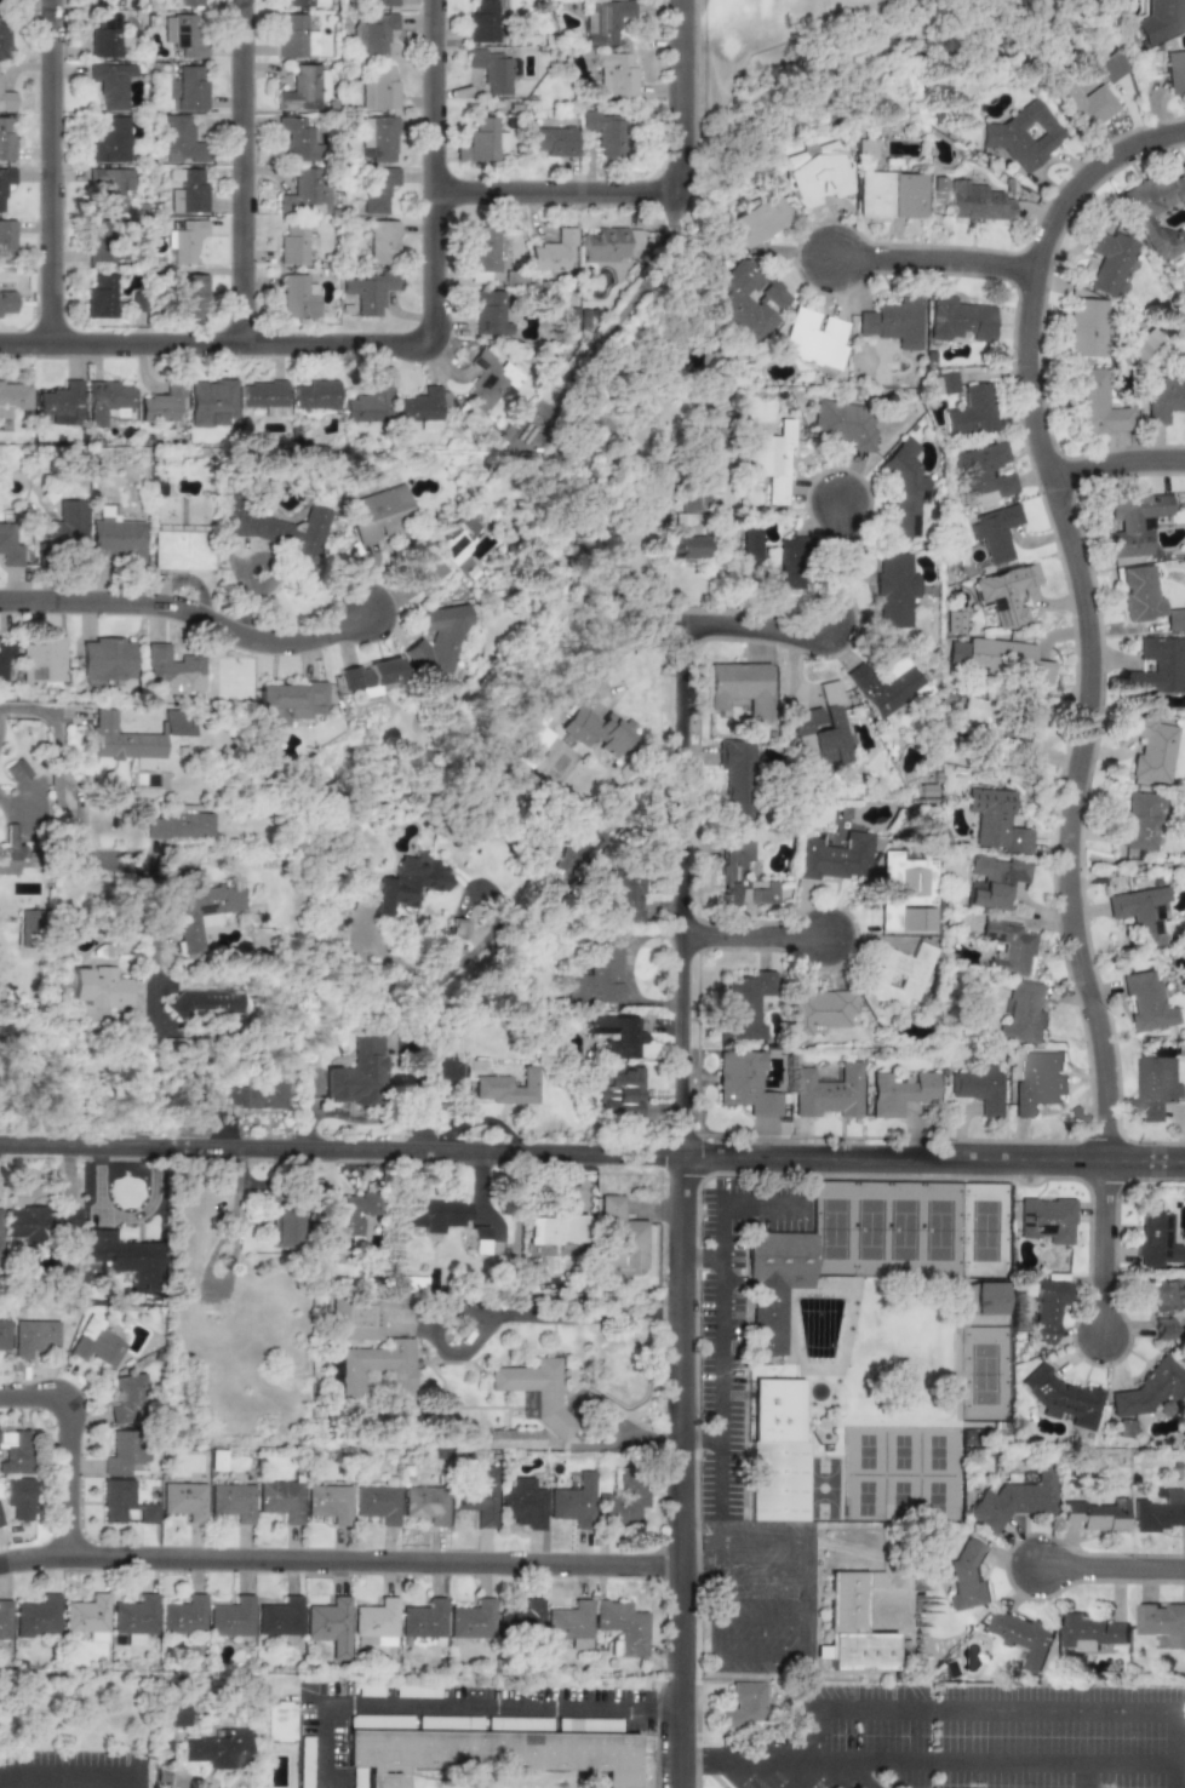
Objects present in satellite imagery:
building: (2, 2)
building: (107, 2)
building: (191, 2)
building: (299, 2)
building: (378, 2)
building: (606, 21)
building: (1161, 21)
building: (482, 22)
building: (184, 34)
building: (372, 34)
building: (4, 36)
building: (104, 36)
building: (296, 38)
building: (1112, 68)
building: (492, 70)
building: (1175, 71)
building: (614, 76)
building: (110, 84)
building: (322, 86)
building: (190, 88)
building: (298, 88)
building: (379, 90)
road: (683, 91)
building: (7, 101)
building: (1086, 104)
building: (605, 132)
building: (1025, 134)
building: (377, 138)
building: (5, 139)
building: (294, 139)
building: (181, 141)
building: (554, 141)
building: (109, 142)
building: (483, 142)
road: (440, 170)
road: (52, 171)
road: (247, 171)
building: (818, 174)
road: (561, 180)
building: (5, 182)
building: (108, 188)
building: (377, 189)
building: (304, 194)
building: (892, 195)
building: (977, 202)
building: (1156, 211)
building: (758, 219)
building: (6, 240)
building: (102, 241)
building: (187, 241)
building: (382, 241)
building: (294, 243)
building: (609, 243)
road: (935, 246)
building: (554, 252)
building: (482, 254)
building: (1109, 262)
building: (367, 292)
building: (191, 296)
building: (101, 297)
building: (297, 297)
building: (748, 300)
building: (6, 302)
building: (488, 313)
building: (960, 320)
building: (894, 322)
building: (1087, 327)
building: (813, 338)
road: (219, 342)
building: (490, 380)
building: (946, 382)
building: (263, 394)
building: (315, 395)
building: (1166, 395)
building: (13, 397)
building: (105, 401)
building: (59, 403)
building: (211, 403)
building: (161, 405)
building: (368, 405)
building: (1094, 405)
building: (422, 408)
building: (972, 412)
building: (843, 424)
road: (1117, 452)
building: (768, 460)
building: (984, 474)
building: (905, 487)
building: (692, 500)
building: (380, 514)
building: (1135, 523)
building: (64, 525)
building: (995, 532)
building: (116, 537)
building: (8, 545)
building: (687, 548)
building: (750, 549)
building: (181, 550)
building: (451, 552)
building: (786, 567)
building: (895, 590)
building: (1007, 594)
building: (1147, 598)
road: (188, 602)
road: (1084, 602)
building: (955, 621)
road: (832, 635)
building: (439, 646)
road: (624, 647)
building: (5, 654)
building: (996, 658)
building: (105, 659)
building: (42, 660)
building: (1157, 666)
building: (173, 667)
building: (371, 676)
building: (883, 683)
building: (740, 687)
building: (290, 701)
building: (983, 715)
building: (174, 722)
building: (822, 729)
building: (597, 730)
building: (1026, 730)
building: (122, 741)
building: (1150, 747)
building: (17, 770)
building: (737, 776)
building: (1140, 819)
building: (996, 820)
building: (178, 824)
building: (588, 835)
building: (12, 852)
building: (836, 856)
road: (103, 860)
building: (994, 881)
building: (408, 884)
building: (904, 888)
building: (750, 893)
building: (624, 894)
building: (204, 910)
building: (1141, 913)
building: (27, 928)
building: (457, 928)
road: (751, 928)
building: (1008, 946)
building: (898, 974)
building: (597, 978)
building: (99, 987)
building: (205, 1001)
building: (1146, 1002)
building: (744, 1005)
building: (819, 1009)
building: (1024, 1014)
road: (422, 1024)
building: (617, 1035)
building: (357, 1074)
building: (744, 1083)
building: (1038, 1084)
building: (506, 1087)
building: (1155, 1087)
building: (979, 1089)
building: (619, 1091)
building: (829, 1091)
building: (900, 1093)
building: (254, 1094)
road: (351, 1117)
road: (591, 1150)
road: (677, 1200)
building: (434, 1215)
building: (347, 1216)
building: (1046, 1220)
building: (38, 1221)
building: (285, 1228)
building: (556, 1230)
building: (622, 1237)
building: (1155, 1238)
building: (477, 1240)
road: (1105, 1244)
building: (126, 1256)
road: (700, 1256)
building: (0, 1259)
road: (231, 1265)
building: (402, 1283)
building: (775, 1283)
building: (1163, 1294)
building: (981, 1297)
building: (1046, 1311)
road: (502, 1312)
building: (365, 1314)
road: (723, 1320)
building: (1162, 1328)
building: (4, 1335)
building: (34, 1337)
building: (96, 1343)
building: (399, 1383)
building: (534, 1388)
building: (1150, 1389)
building: (128, 1399)
building: (1064, 1399)
road: (69, 1437)
building: (511, 1438)
road: (699, 1438)
building: (15, 1451)
building: (125, 1451)
building: (777, 1451)
building: (476, 1496)
building: (18, 1497)
building: (116, 1498)
building: (184, 1500)
building: (280, 1500)
building: (1014, 1500)
building: (233, 1501)
building: (622, 1501)
building: (328, 1502)
building: (572, 1502)
building: (377, 1503)
building: (425, 1503)
building: (522, 1503)
building: (1161, 1512)
building: (147, 1513)
building: (1098, 1515)
building: (0, 1523)
road: (740, 1542)
road: (337, 1559)
road: (1111, 1566)
road: (761, 1578)
building: (967, 1580)
road: (806, 1604)
building: (86, 1614)
building: (182, 1616)
road: (763, 1616)
building: (38, 1617)
building: (230, 1617)
building: (279, 1617)
building: (521, 1617)
building: (133, 1618)
building: (5, 1620)
building: (423, 1620)
building: (471, 1620)
building: (376, 1621)
building: (1163, 1622)
building: (569, 1623)
building: (328, 1626)
building: (622, 1626)
building: (854, 1626)
building: (1090, 1633)
building: (1023, 1637)
road: (739, 1662)
building: (744, 1704)
road: (996, 1706)
road: (453, 1707)
building: (174, 1715)
building: (277, 1721)
road: (814, 1729)
road: (1177, 1736)
building: (217, 1749)
building: (490, 1753)
road: (687, 1754)
road: (756, 1755)
road: (829, 1757)
road: (1011, 1759)
road: (78, 1769)
road: (859, 1772)
road: (1086, 1775)
road: (1175, 1776)
building: (854, 1787)

